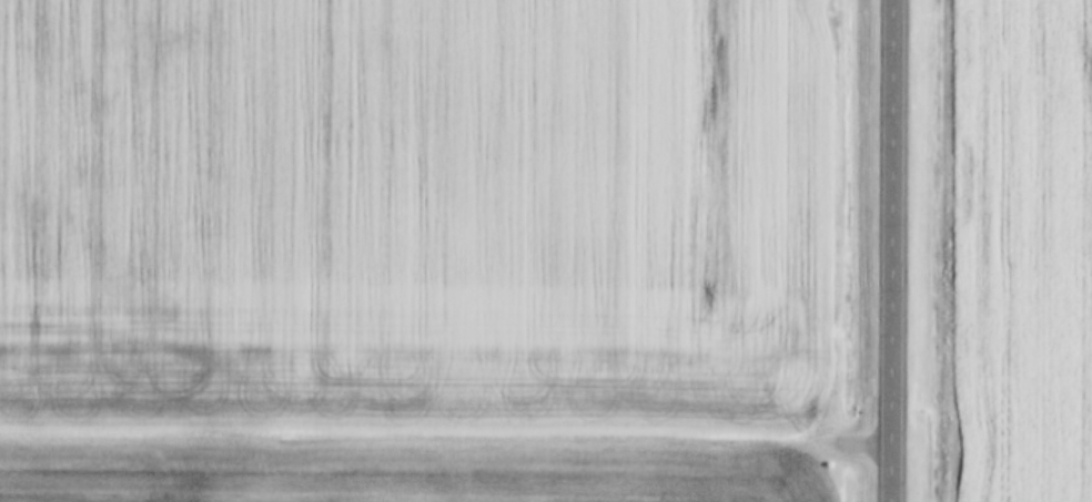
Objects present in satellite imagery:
road: (892, 250)

